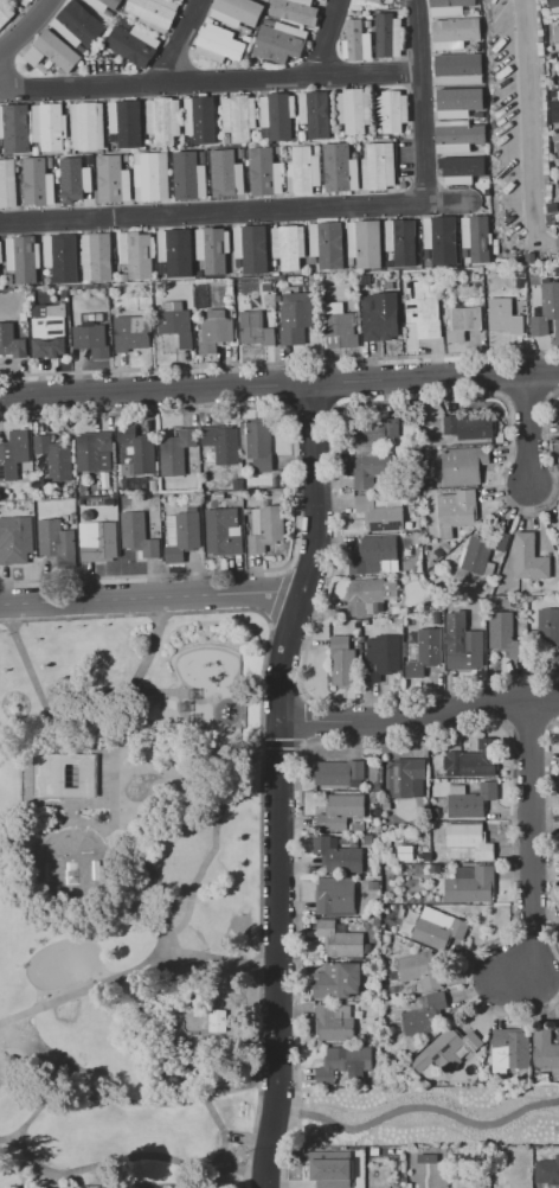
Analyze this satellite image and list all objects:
building: (375, 1)
building: (536, 1)
building: (24, 2)
building: (102, 4)
building: (554, 6)
building: (448, 7)
building: (538, 7)
building: (295, 11)
building: (5, 12)
building: (236, 12)
building: (399, 12)
building: (467, 12)
building: (107, 13)
building: (154, 13)
building: (538, 13)
building: (538, 20)
building: (124, 23)
building: (368, 23)
building: (77, 24)
building: (366, 24)
building: (539, 26)
road: (26, 28)
building: (540, 32)
building: (454, 33)
building: (387, 36)
road: (328, 37)
building: (557, 37)
road: (179, 40)
building: (539, 40)
building: (355, 41)
building: (218, 43)
building: (279, 43)
building: (133, 45)
building: (539, 45)
building: (81, 49)
building: (52, 51)
building: (540, 51)
building: (552, 58)
building: (542, 60)
building: (558, 60)
building: (43, 68)
building: (458, 68)
building: (544, 68)
building: (542, 77)
road: (208, 79)
building: (541, 84)
building: (554, 94)
building: (544, 97)
road: (420, 101)
building: (460, 101)
building: (544, 106)
building: (557, 108)
building: (353, 110)
building: (392, 110)
building: (315, 113)
building: (277, 115)
building: (478, 115)
building: (239, 116)
building: (200, 119)
building: (545, 119)
building: (162, 120)
building: (124, 122)
building: (49, 126)
building: (86, 127)
building: (15, 129)
road: (533, 129)
building: (545, 129)
building: (264, 133)
building: (340, 133)
building: (457, 135)
building: (545, 135)
building: (148, 136)
building: (302, 136)
building: (378, 136)
building: (385, 136)
building: (111, 138)
building: (226, 138)
building: (555, 138)
building: (0, 141)
building: (545, 143)
building: (557, 146)
building: (482, 148)
building: (36, 149)
building: (315, 149)
building: (546, 151)
building: (277, 152)
building: (211, 155)
building: (353, 155)
building: (88, 157)
building: (203, 157)
building: (546, 157)
building: (127, 159)
building: (49, 162)
building: (88, 162)
building: (546, 164)
building: (378, 166)
building: (339, 167)
building: (462, 170)
building: (302, 171)
building: (546, 171)
building: (264, 172)
building: (226, 173)
building: (150, 175)
building: (188, 175)
building: (111, 179)
building: (547, 179)
building: (38, 181)
building: (7, 183)
building: (76, 184)
building: (548, 187)
building: (548, 192)
building: (548, 199)
building: (552, 207)
road: (237, 211)
building: (555, 218)
building: (550, 219)
building: (476, 237)
building: (441, 239)
building: (401, 241)
building: (364, 243)
building: (288, 245)
building: (327, 245)
building: (251, 248)
building: (213, 249)
building: (496, 249)
building: (175, 251)
building: (1, 253)
building: (136, 253)
building: (426, 254)
building: (464, 254)
building: (62, 256)
building: (23, 257)
building: (97, 257)
building: (313, 260)
building: (351, 261)
building: (274, 262)
building: (388, 263)
building: (428, 263)
building: (237, 264)
building: (161, 269)
building: (520, 272)
building: (276, 274)
building: (123, 277)
building: (302, 277)
building: (11, 279)
building: (311, 279)
building: (47, 280)
building: (259, 280)
building: (266, 287)
building: (75, 290)
building: (230, 290)
building: (476, 292)
building: (520, 292)
building: (200, 296)
building: (323, 298)
building: (392, 298)
building: (546, 308)
building: (423, 309)
building: (24, 317)
building: (503, 318)
building: (295, 319)
building: (378, 319)
building: (175, 322)
building: (463, 322)
building: (338, 324)
building: (46, 328)
building: (255, 328)
building: (214, 331)
building: (131, 332)
building: (91, 339)
building: (12, 343)
road: (279, 363)
road: (436, 379)
road: (156, 392)
building: (470, 426)
road: (525, 429)
building: (375, 430)
building: (221, 442)
building: (256, 445)
building: (135, 449)
building: (94, 452)
building: (175, 452)
building: (14, 454)
building: (54, 458)
building: (463, 464)
building: (371, 468)
building: (276, 483)
building: (154, 485)
building: (428, 485)
building: (84, 488)
building: (219, 496)
building: (416, 499)
building: (456, 511)
building: (379, 513)
building: (66, 518)
building: (264, 528)
building: (558, 528)
building: (223, 531)
building: (139, 535)
building: (180, 536)
building: (417, 538)
building: (15, 539)
building: (98, 541)
building: (56, 542)
building: (445, 547)
building: (483, 549)
building: (439, 553)
building: (373, 554)
road: (311, 556)
building: (529, 558)
building: (367, 594)
road: (150, 596)
building: (514, 600)
building: (506, 601)
building: (437, 619)
building: (548, 625)
building: (500, 630)
building: (467, 651)
building: (425, 653)
building: (380, 657)
building: (342, 662)
road: (38, 697)
road: (418, 715)
building: (471, 762)
building: (339, 773)
building: (62, 774)
building: (407, 778)
fountain: (133, 790)
building: (470, 800)
building: (386, 805)
building: (341, 811)
building: (433, 813)
building: (358, 826)
building: (368, 839)
building: (469, 839)
building: (352, 842)
road: (532, 850)
building: (336, 855)
road: (206, 857)
building: (426, 857)
park: (70, 862)
building: (435, 868)
building: (475, 883)
building: (372, 886)
building: (335, 895)
park: (130, 896)
road: (276, 901)
building: (375, 922)
building: (438, 928)
building: (387, 938)
building: (339, 939)
road: (211, 957)
park: (63, 962)
building: (419, 970)
building: (339, 981)
road: (178, 984)
road: (84, 989)
building: (375, 995)
building: (425, 1014)
building: (217, 1020)
building: (335, 1021)
building: (368, 1040)
building: (509, 1049)
building: (446, 1050)
building: (545, 1050)
building: (403, 1055)
building: (342, 1061)
road: (301, 1113)
road: (31, 1114)
park: (429, 1114)
road: (264, 1133)
building: (374, 1151)
building: (391, 1151)
building: (399, 1151)
building: (428, 1158)
road: (225, 1170)
building: (329, 1171)
building: (409, 1186)

